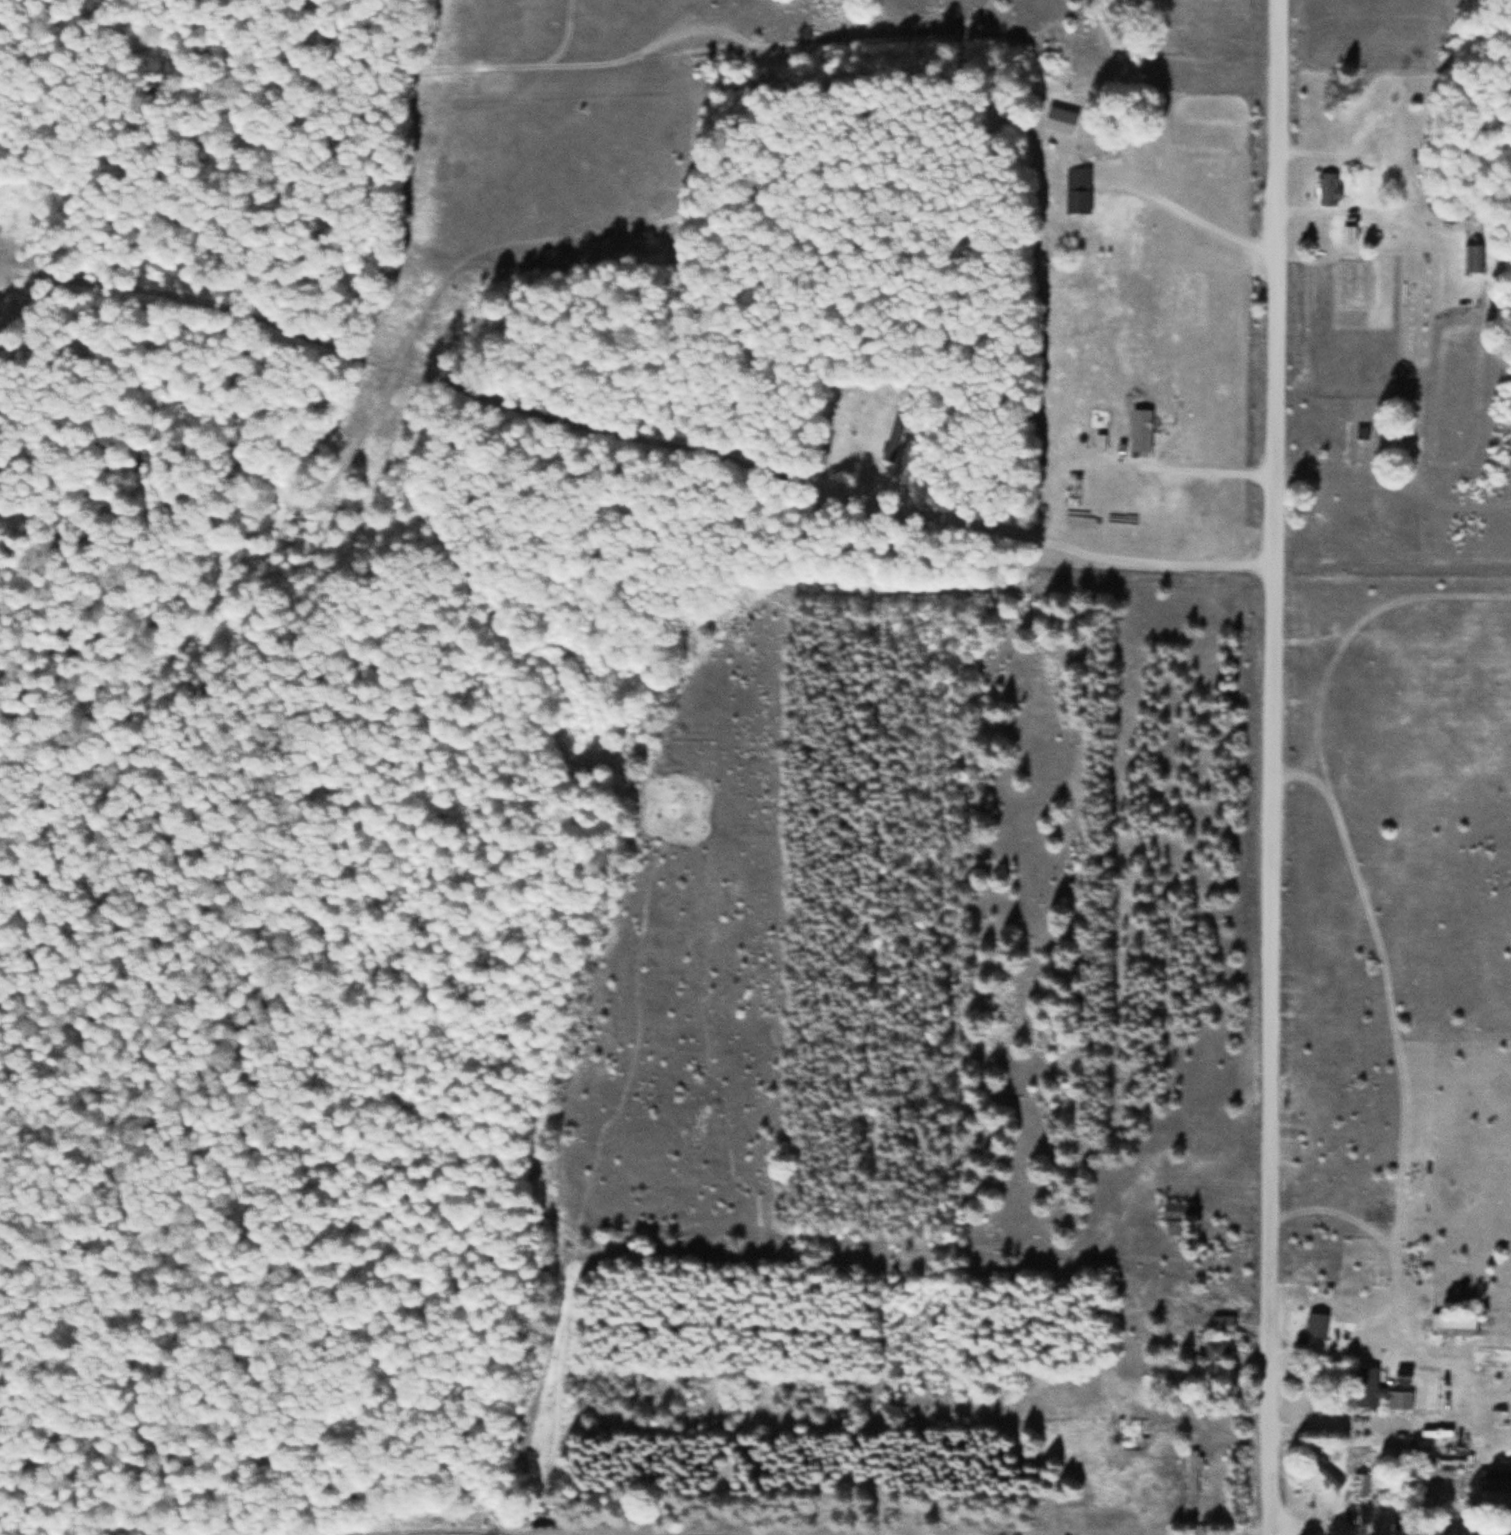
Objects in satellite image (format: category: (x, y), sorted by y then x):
building: (1069, 123)
building: (1328, 188)
building: (1078, 190)
building: (1349, 234)
building: (1474, 258)
building: (1146, 429)
building: (1361, 433)
road: (1271, 767)
building: (1175, 1216)
building: (1222, 1324)
building: (1315, 1324)
building: (1454, 1325)
building: (1209, 1350)
building: (1379, 1391)
building: (1323, 1468)
building: (1193, 1470)
building: (1494, 1480)
building: (1360, 1485)

